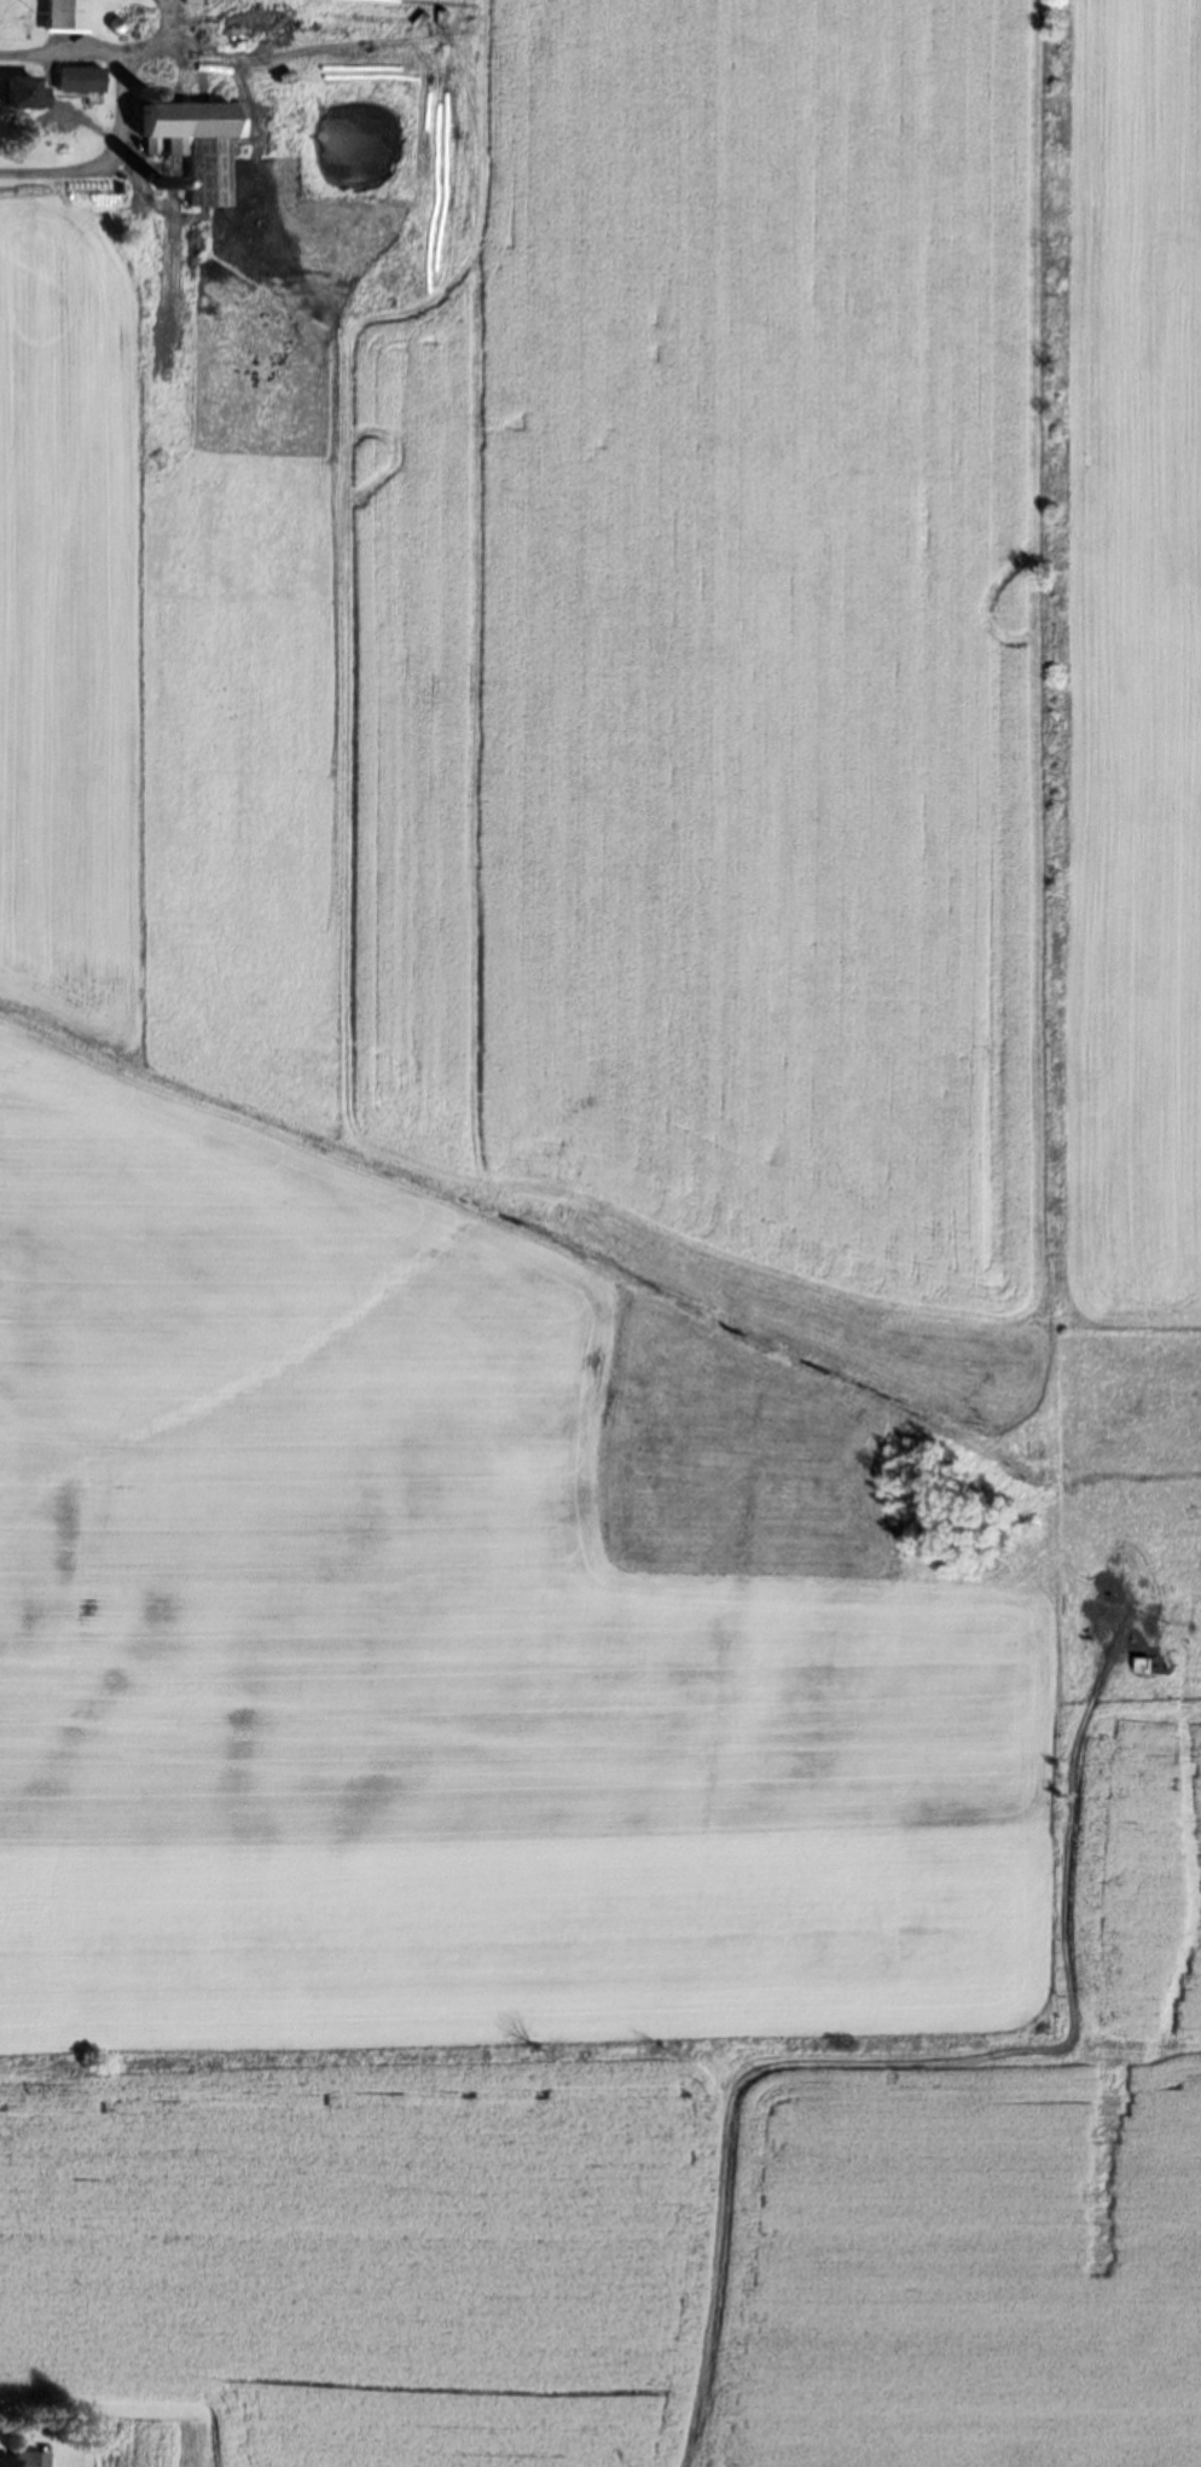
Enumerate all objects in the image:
building: (65, 15)
building: (18, 88)
building: (199, 143)
building: (1148, 1664)
building: (24, 2460)

